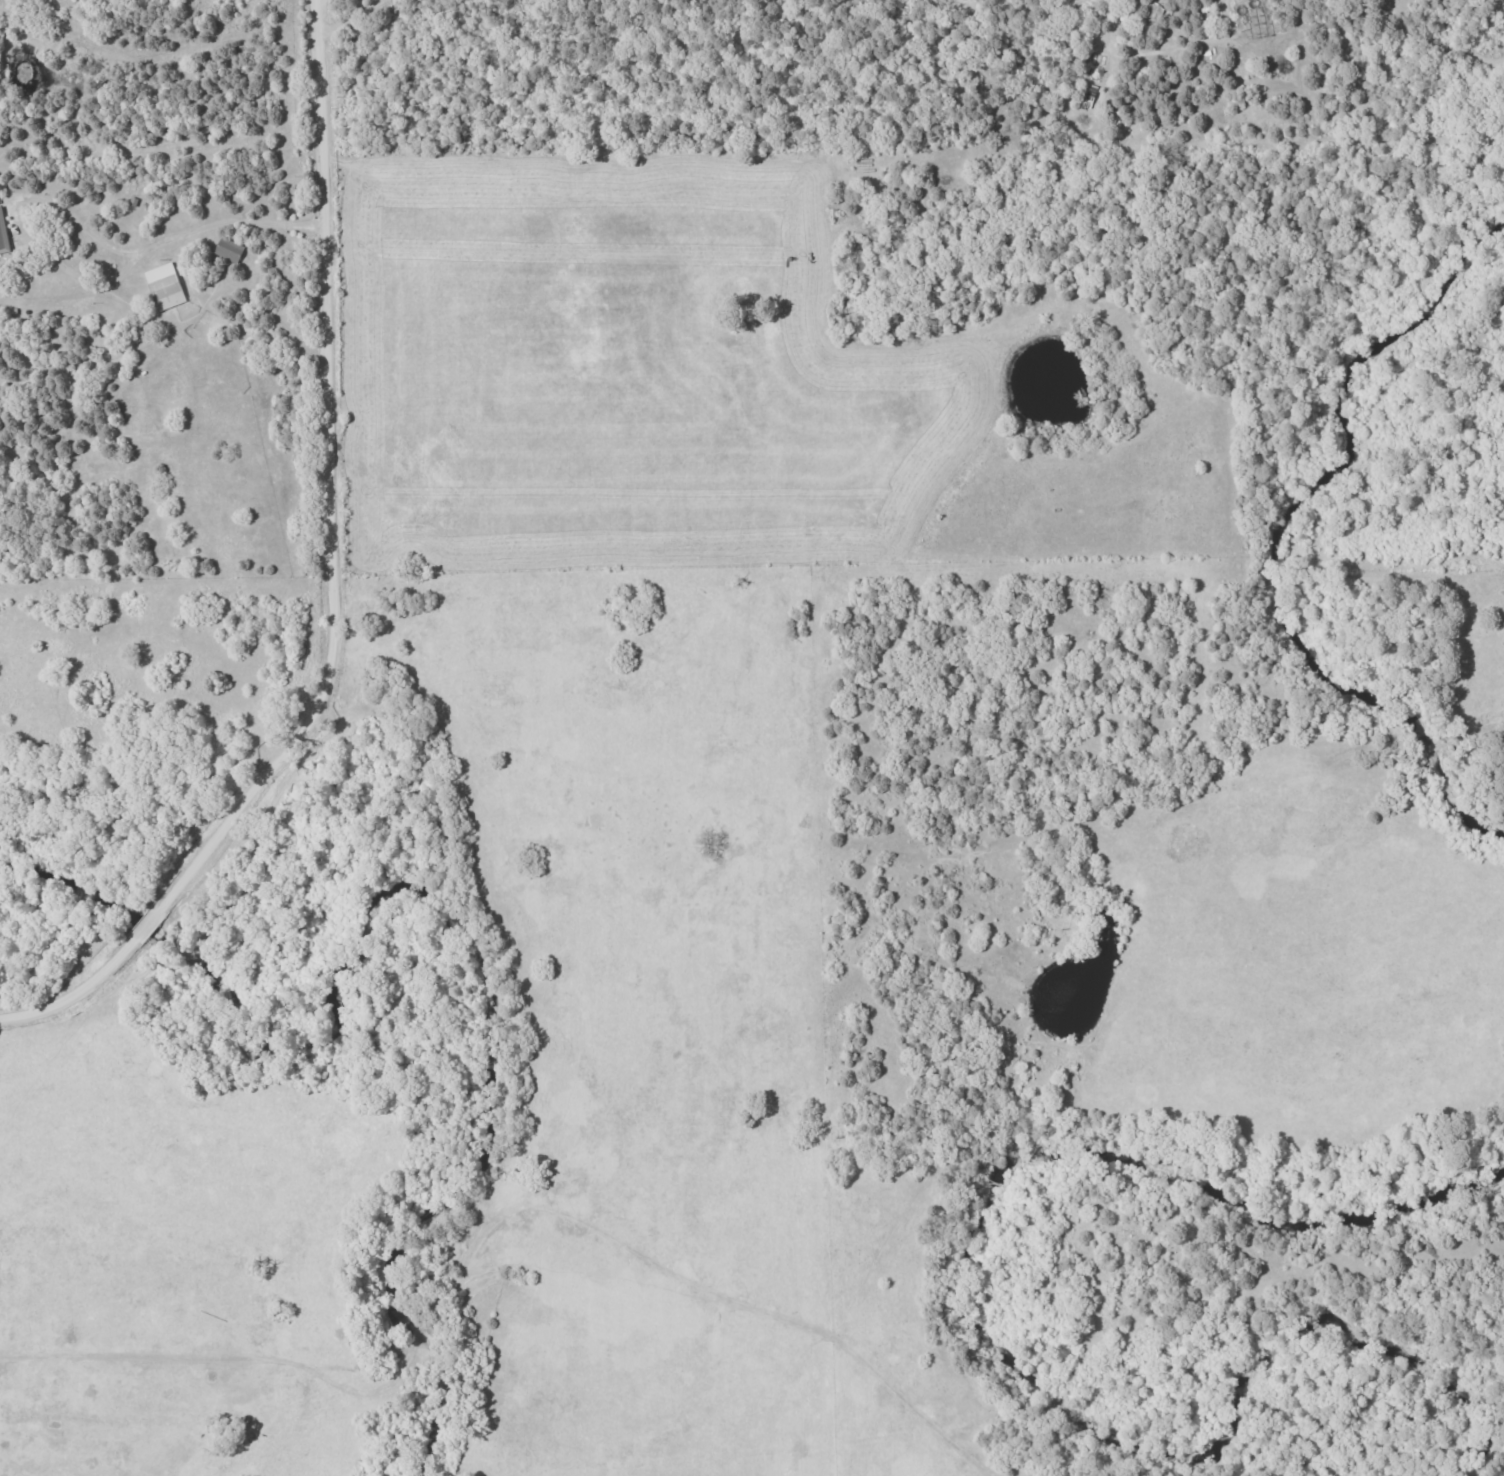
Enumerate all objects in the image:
road: (15, 216)
building: (2, 232)
road: (187, 234)
building: (228, 250)
building: (163, 287)
road: (333, 585)
road: (148, 1357)

